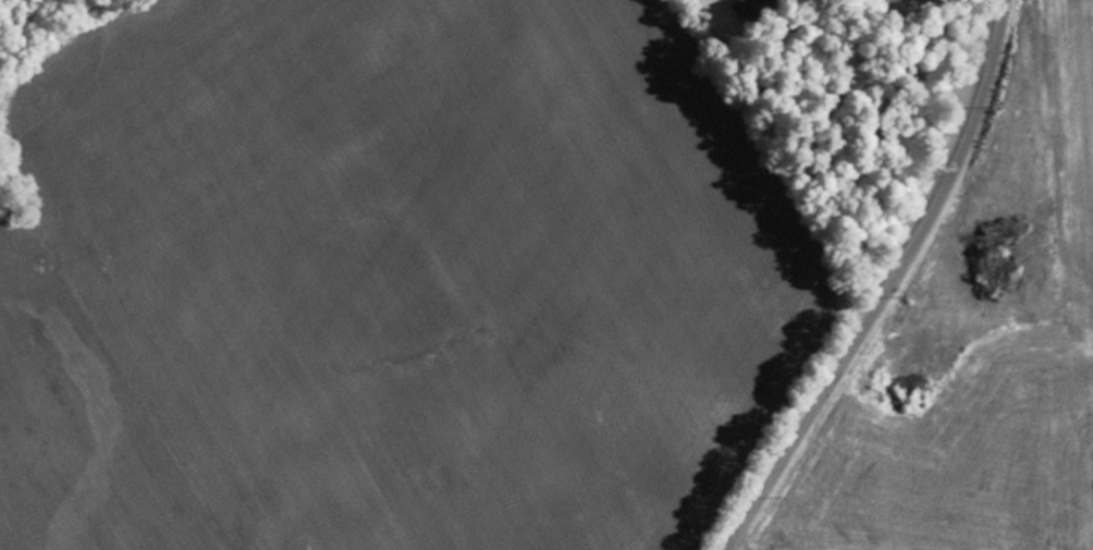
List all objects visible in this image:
road: (892, 285)

